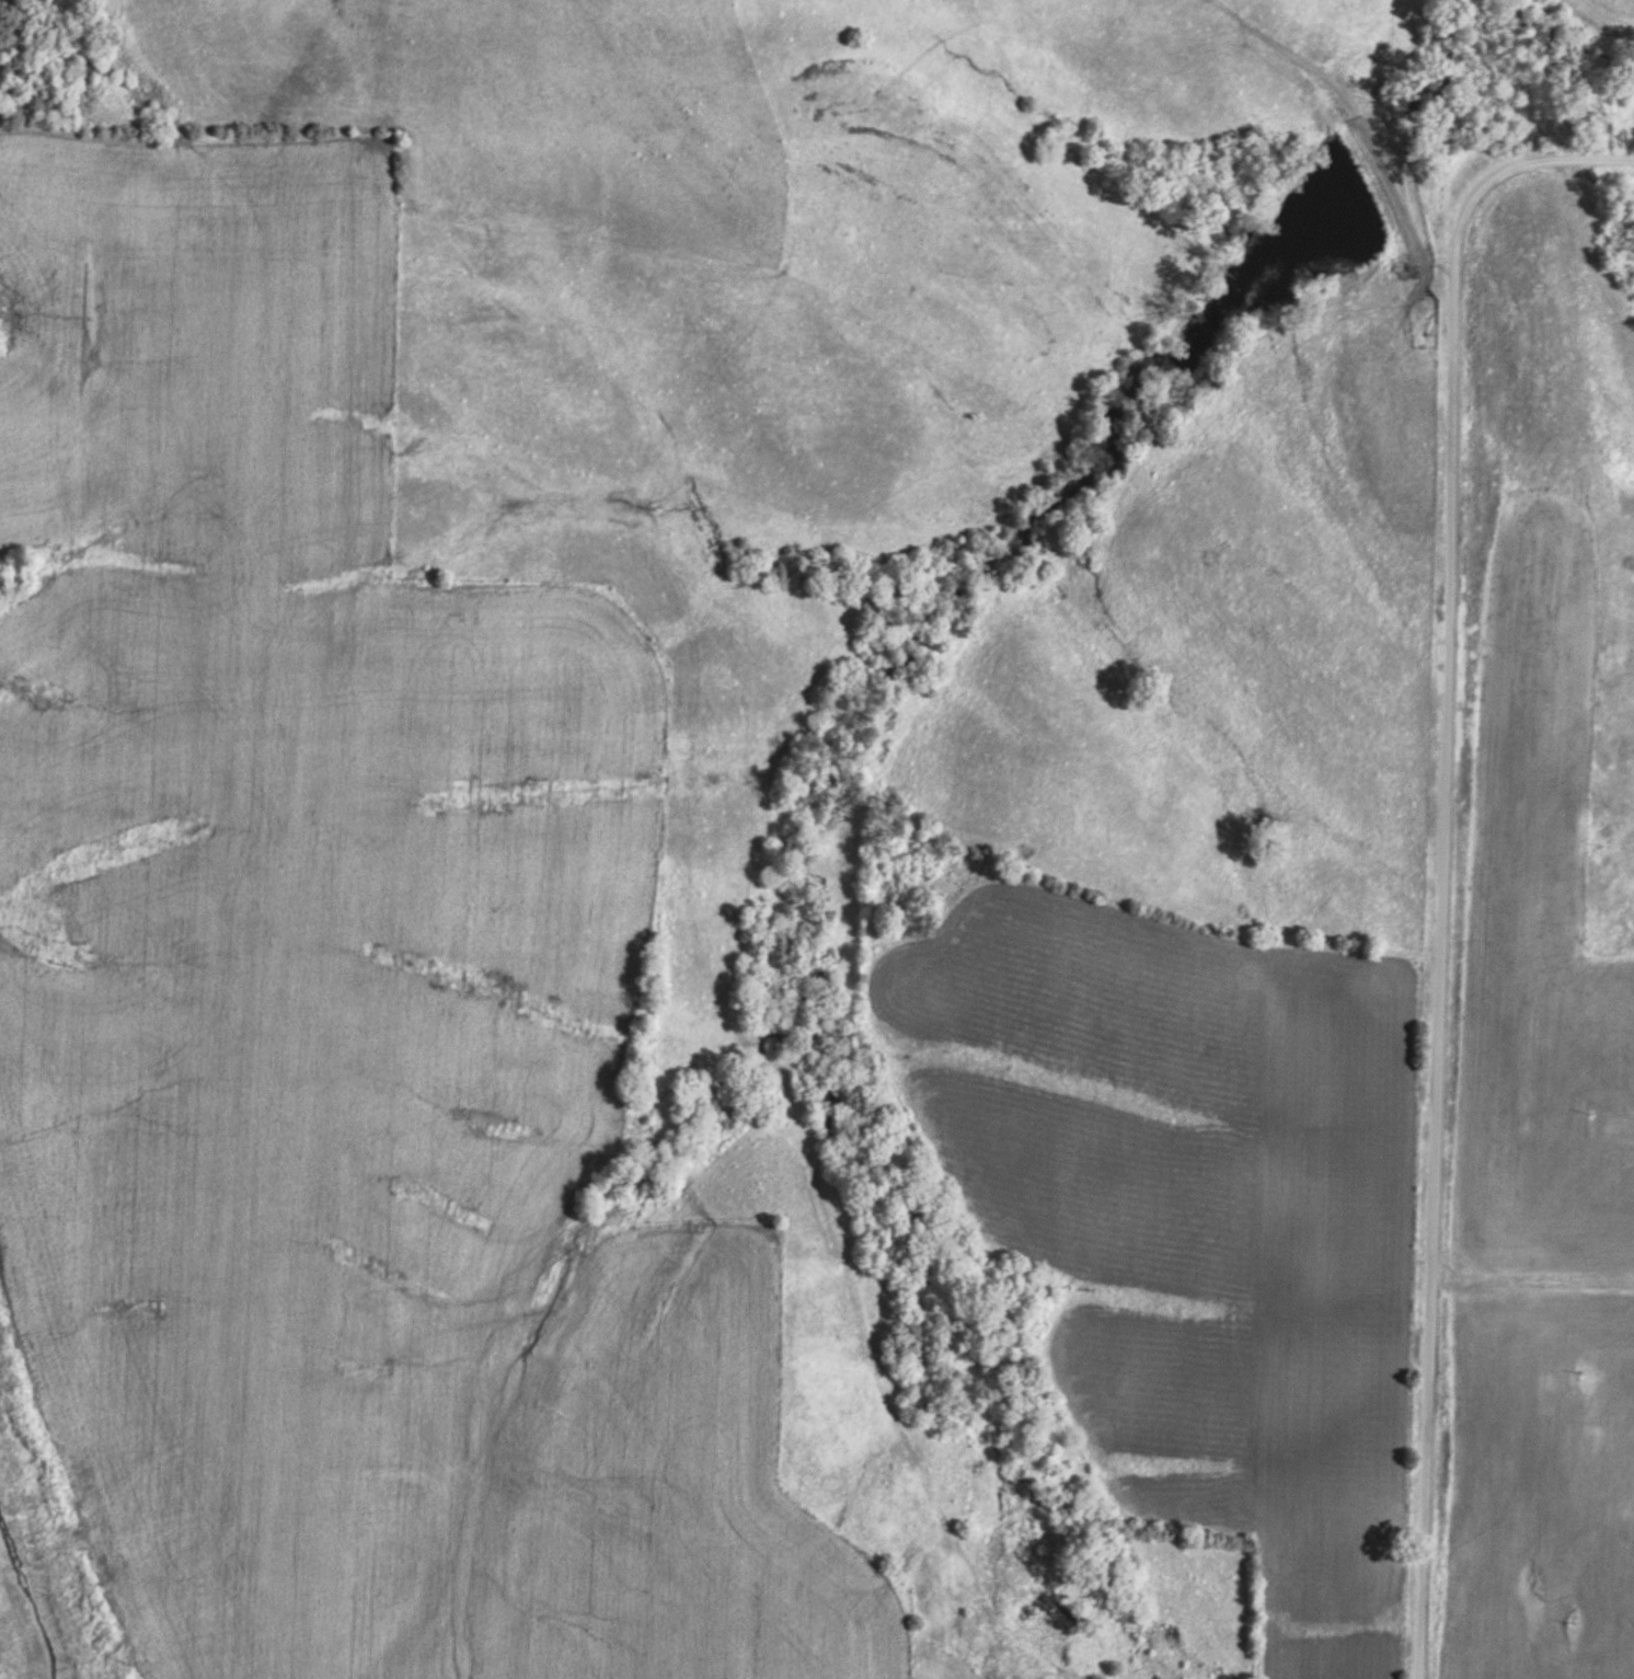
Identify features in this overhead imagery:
road: (1442, 847)

